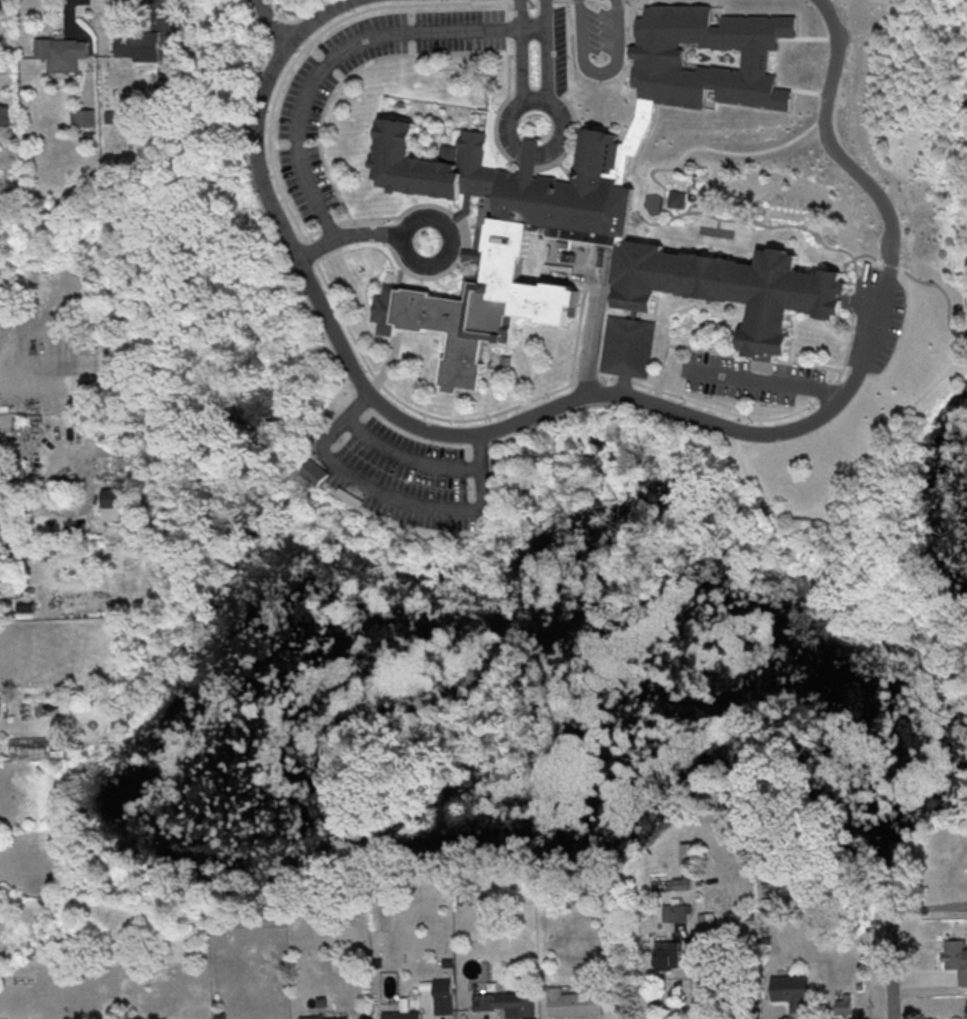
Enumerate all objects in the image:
road: (275, 22)
road: (340, 49)
road: (547, 50)
road: (521, 51)
building: (61, 52)
building: (706, 56)
road: (598, 71)
building: (4, 116)
building: (82, 117)
road: (508, 132)
building: (675, 198)
road: (358, 234)
building: (691, 261)
road: (595, 313)
building: (628, 345)
road: (768, 380)
road: (592, 394)
road: (407, 454)
building: (314, 471)
road: (30, 490)
road: (395, 497)
building: (109, 503)
building: (31, 747)
road: (927, 907)
building: (675, 910)
building: (666, 954)
building: (956, 957)
road: (890, 967)
road: (701, 971)
building: (790, 991)
building: (443, 996)
building: (574, 1002)
building: (506, 1003)
building: (843, 1004)
building: (401, 1015)
building: (325, 1017)

